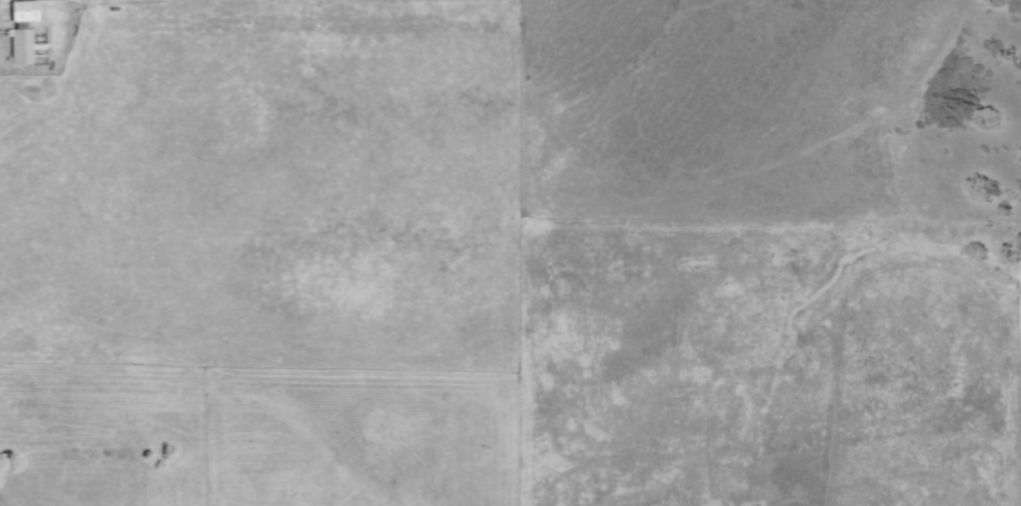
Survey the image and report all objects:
building: (21, 31)
road: (718, 182)
crop: (392, 227)

